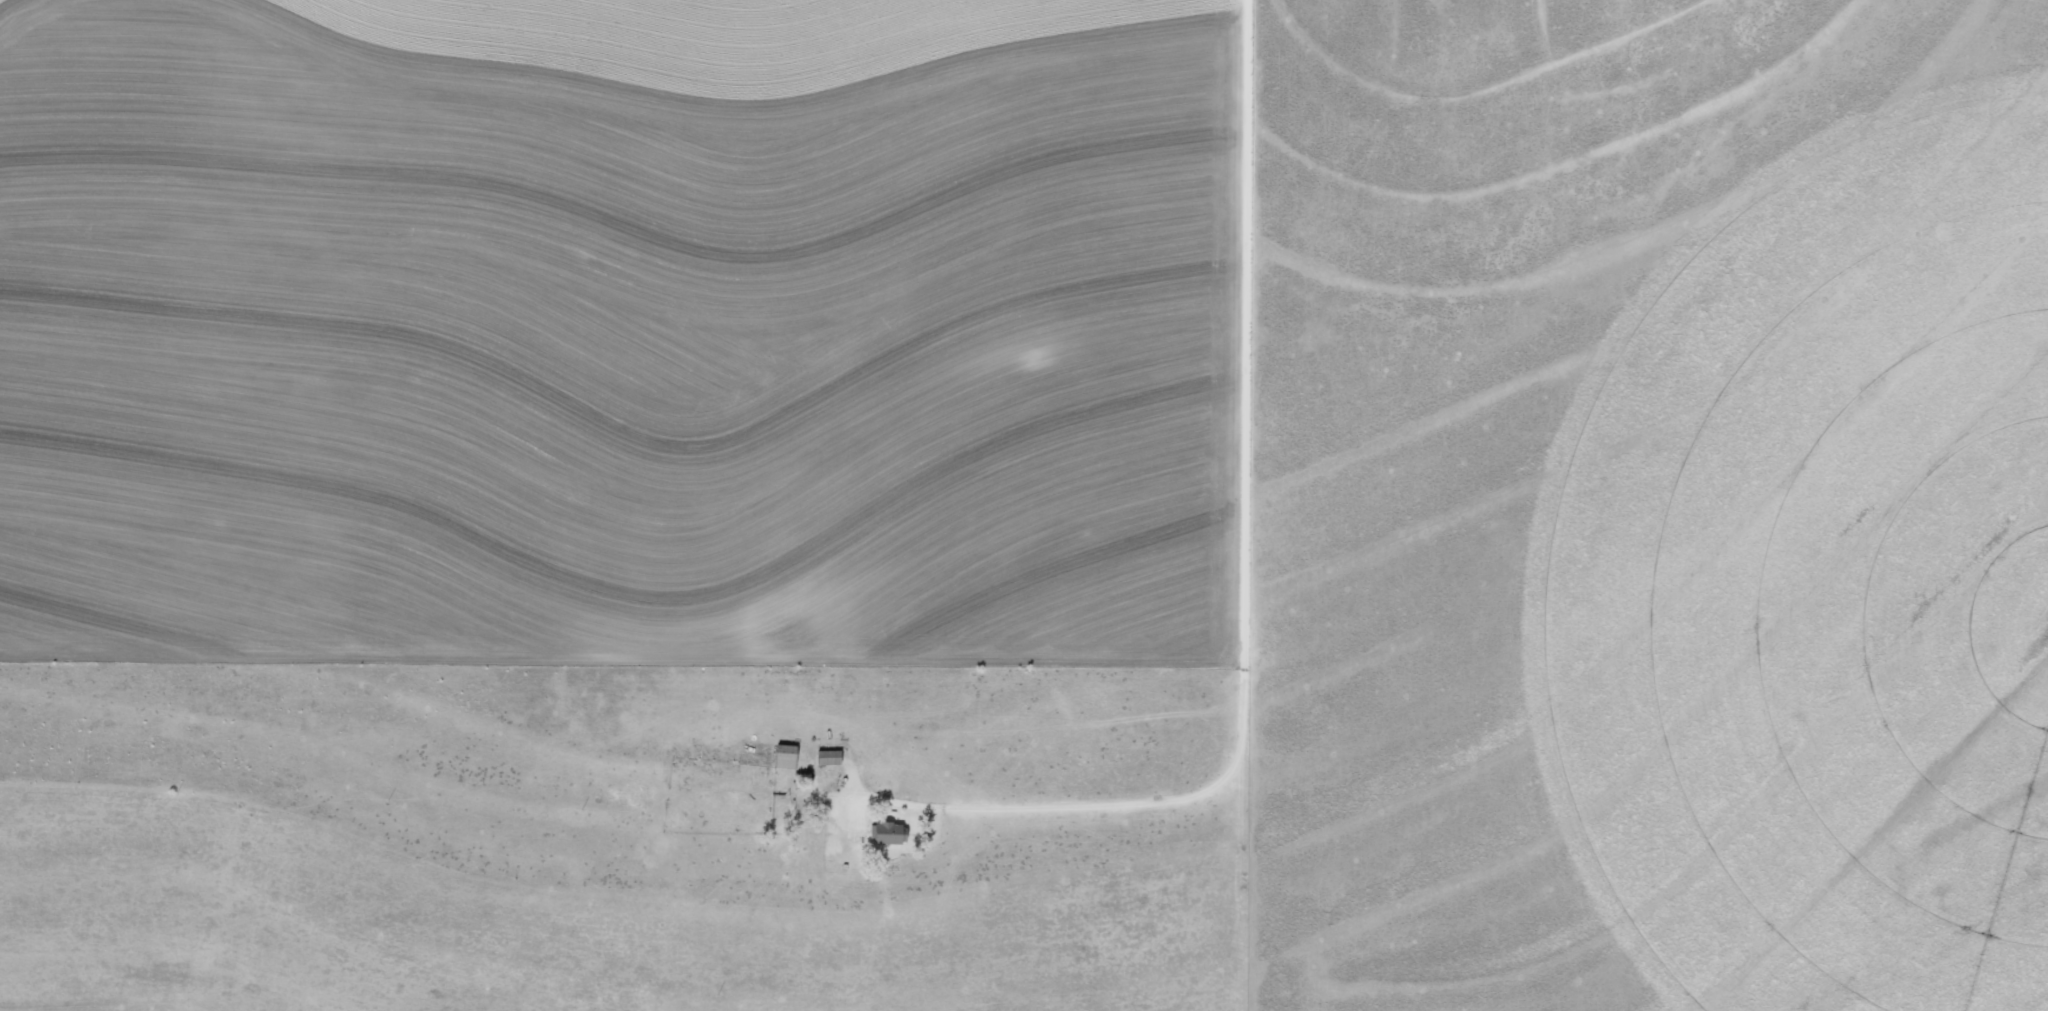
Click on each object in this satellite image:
road: (1276, 577)
building: (831, 757)
building: (889, 834)

